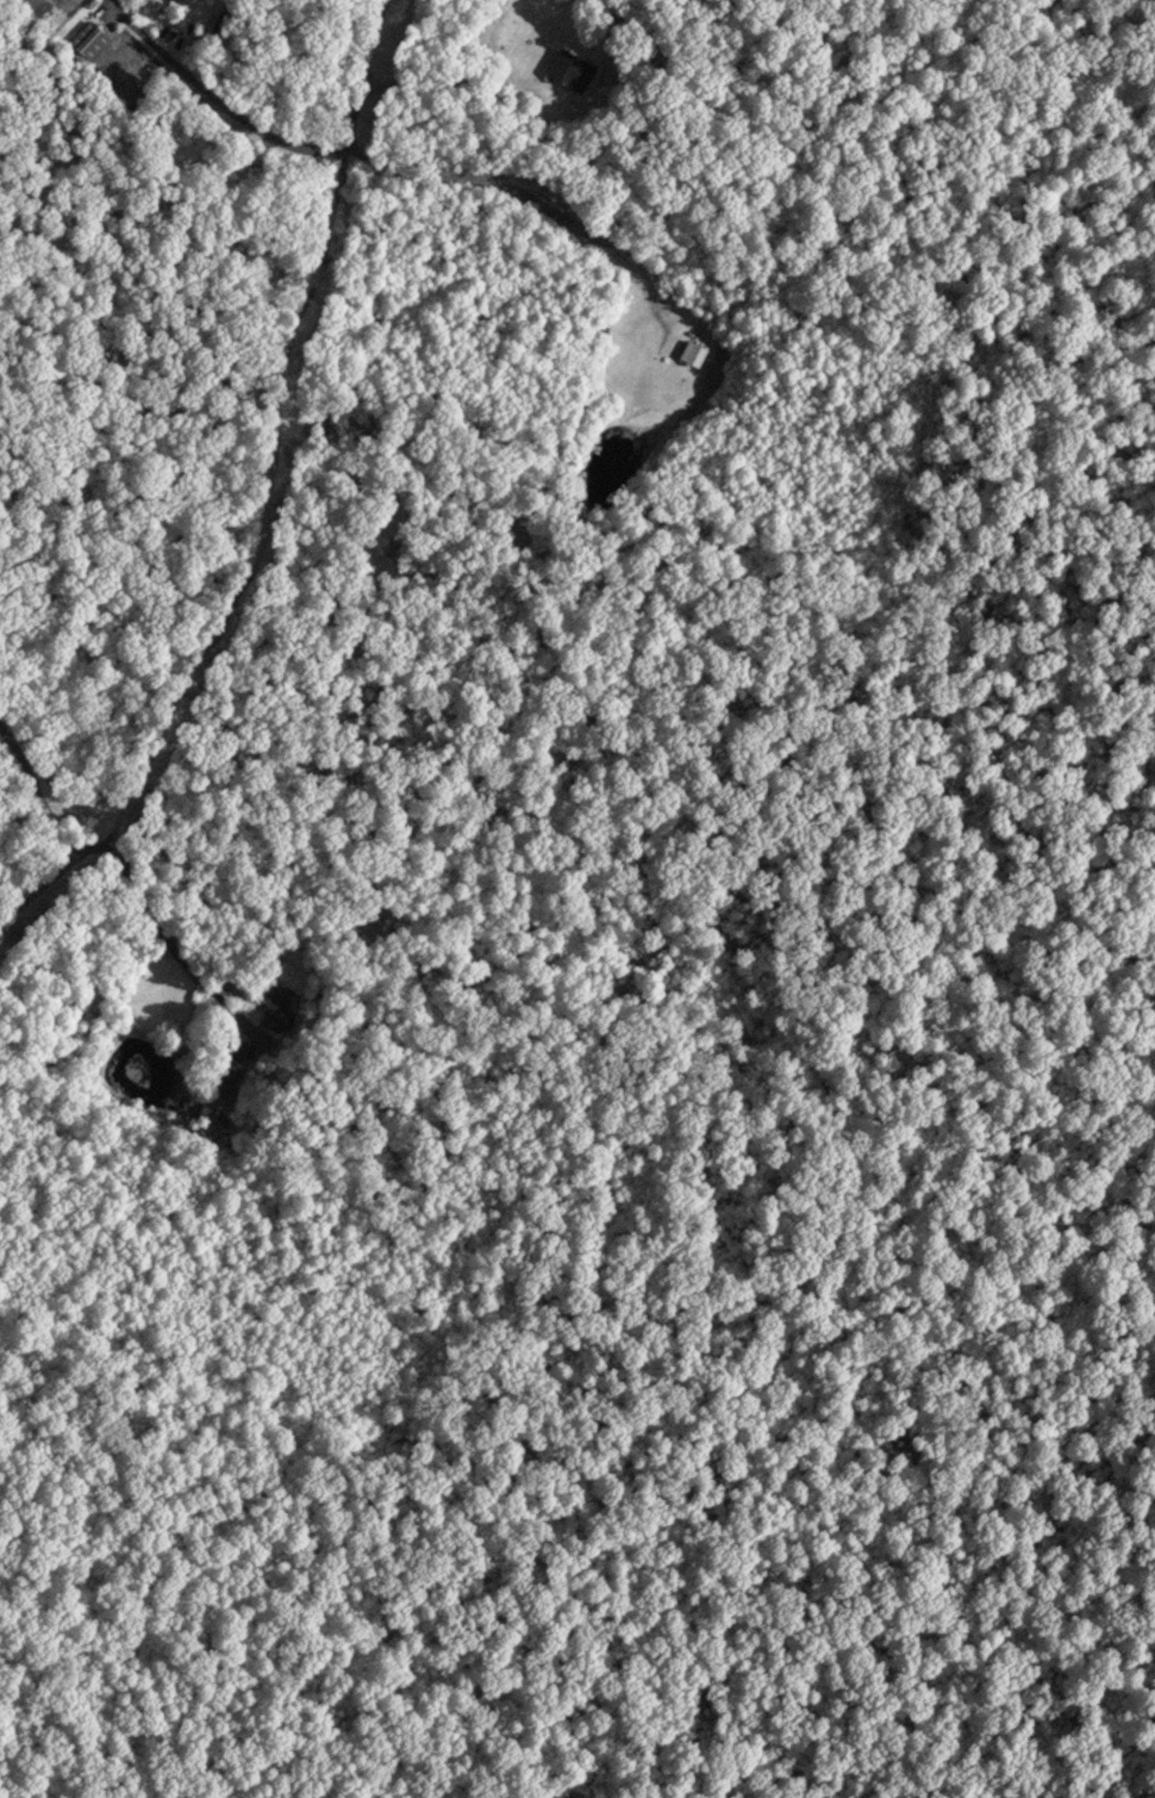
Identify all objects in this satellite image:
building: (89, 36)
building: (568, 67)
road: (354, 76)
road: (211, 97)
building: (693, 348)
road: (243, 508)
road: (26, 791)
road: (32, 871)
road: (142, 920)

